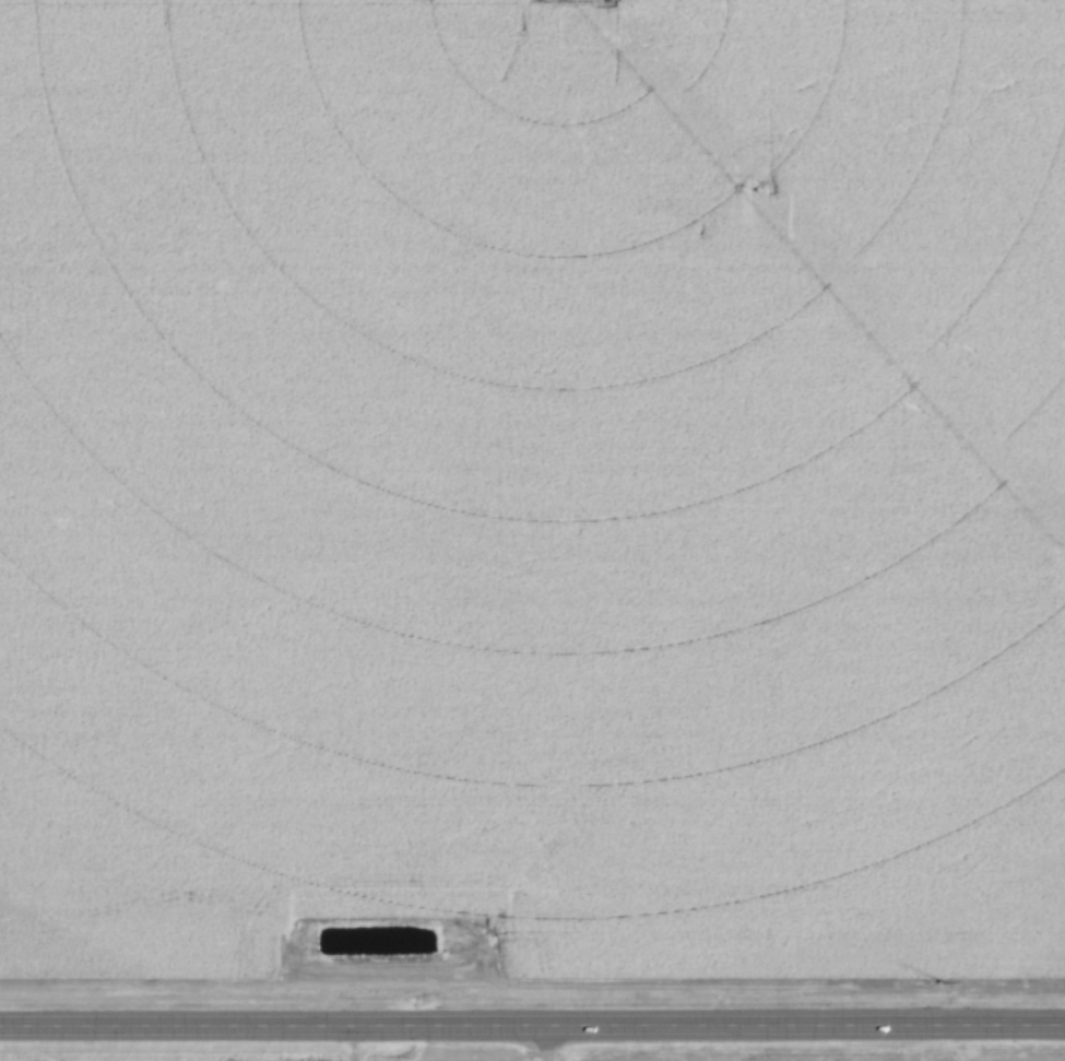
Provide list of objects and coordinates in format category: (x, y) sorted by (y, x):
power tower: (760, 189)
road: (532, 1031)
road: (543, 1046)

